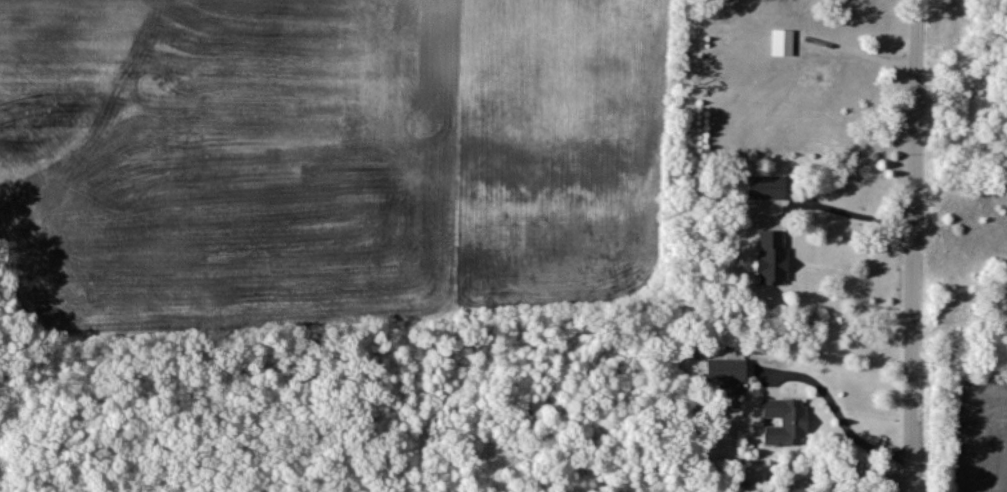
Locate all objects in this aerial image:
building: (783, 44)
road: (860, 54)
building: (766, 189)
road: (847, 214)
road: (919, 246)
road: (764, 258)
building: (772, 259)
building: (727, 376)
road: (848, 394)
building: (786, 422)

